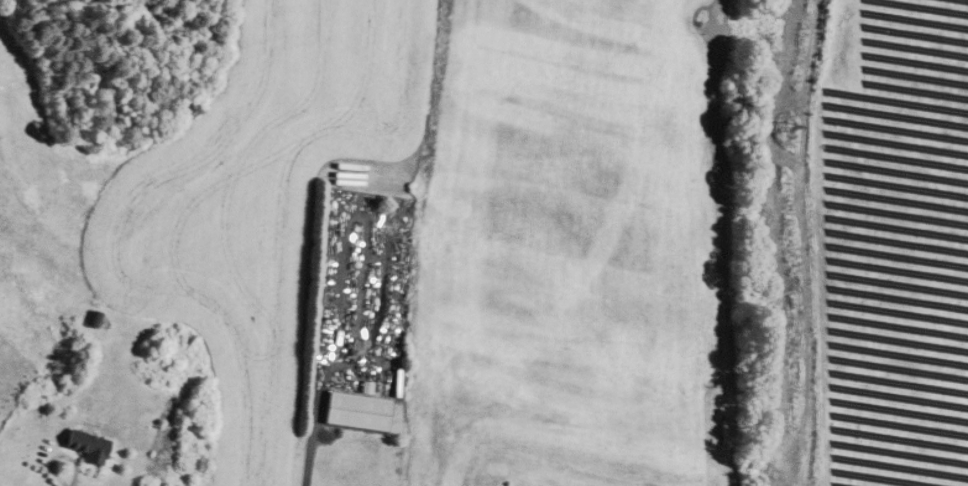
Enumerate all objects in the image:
building: (354, 410)
road: (305, 437)
building: (84, 445)

